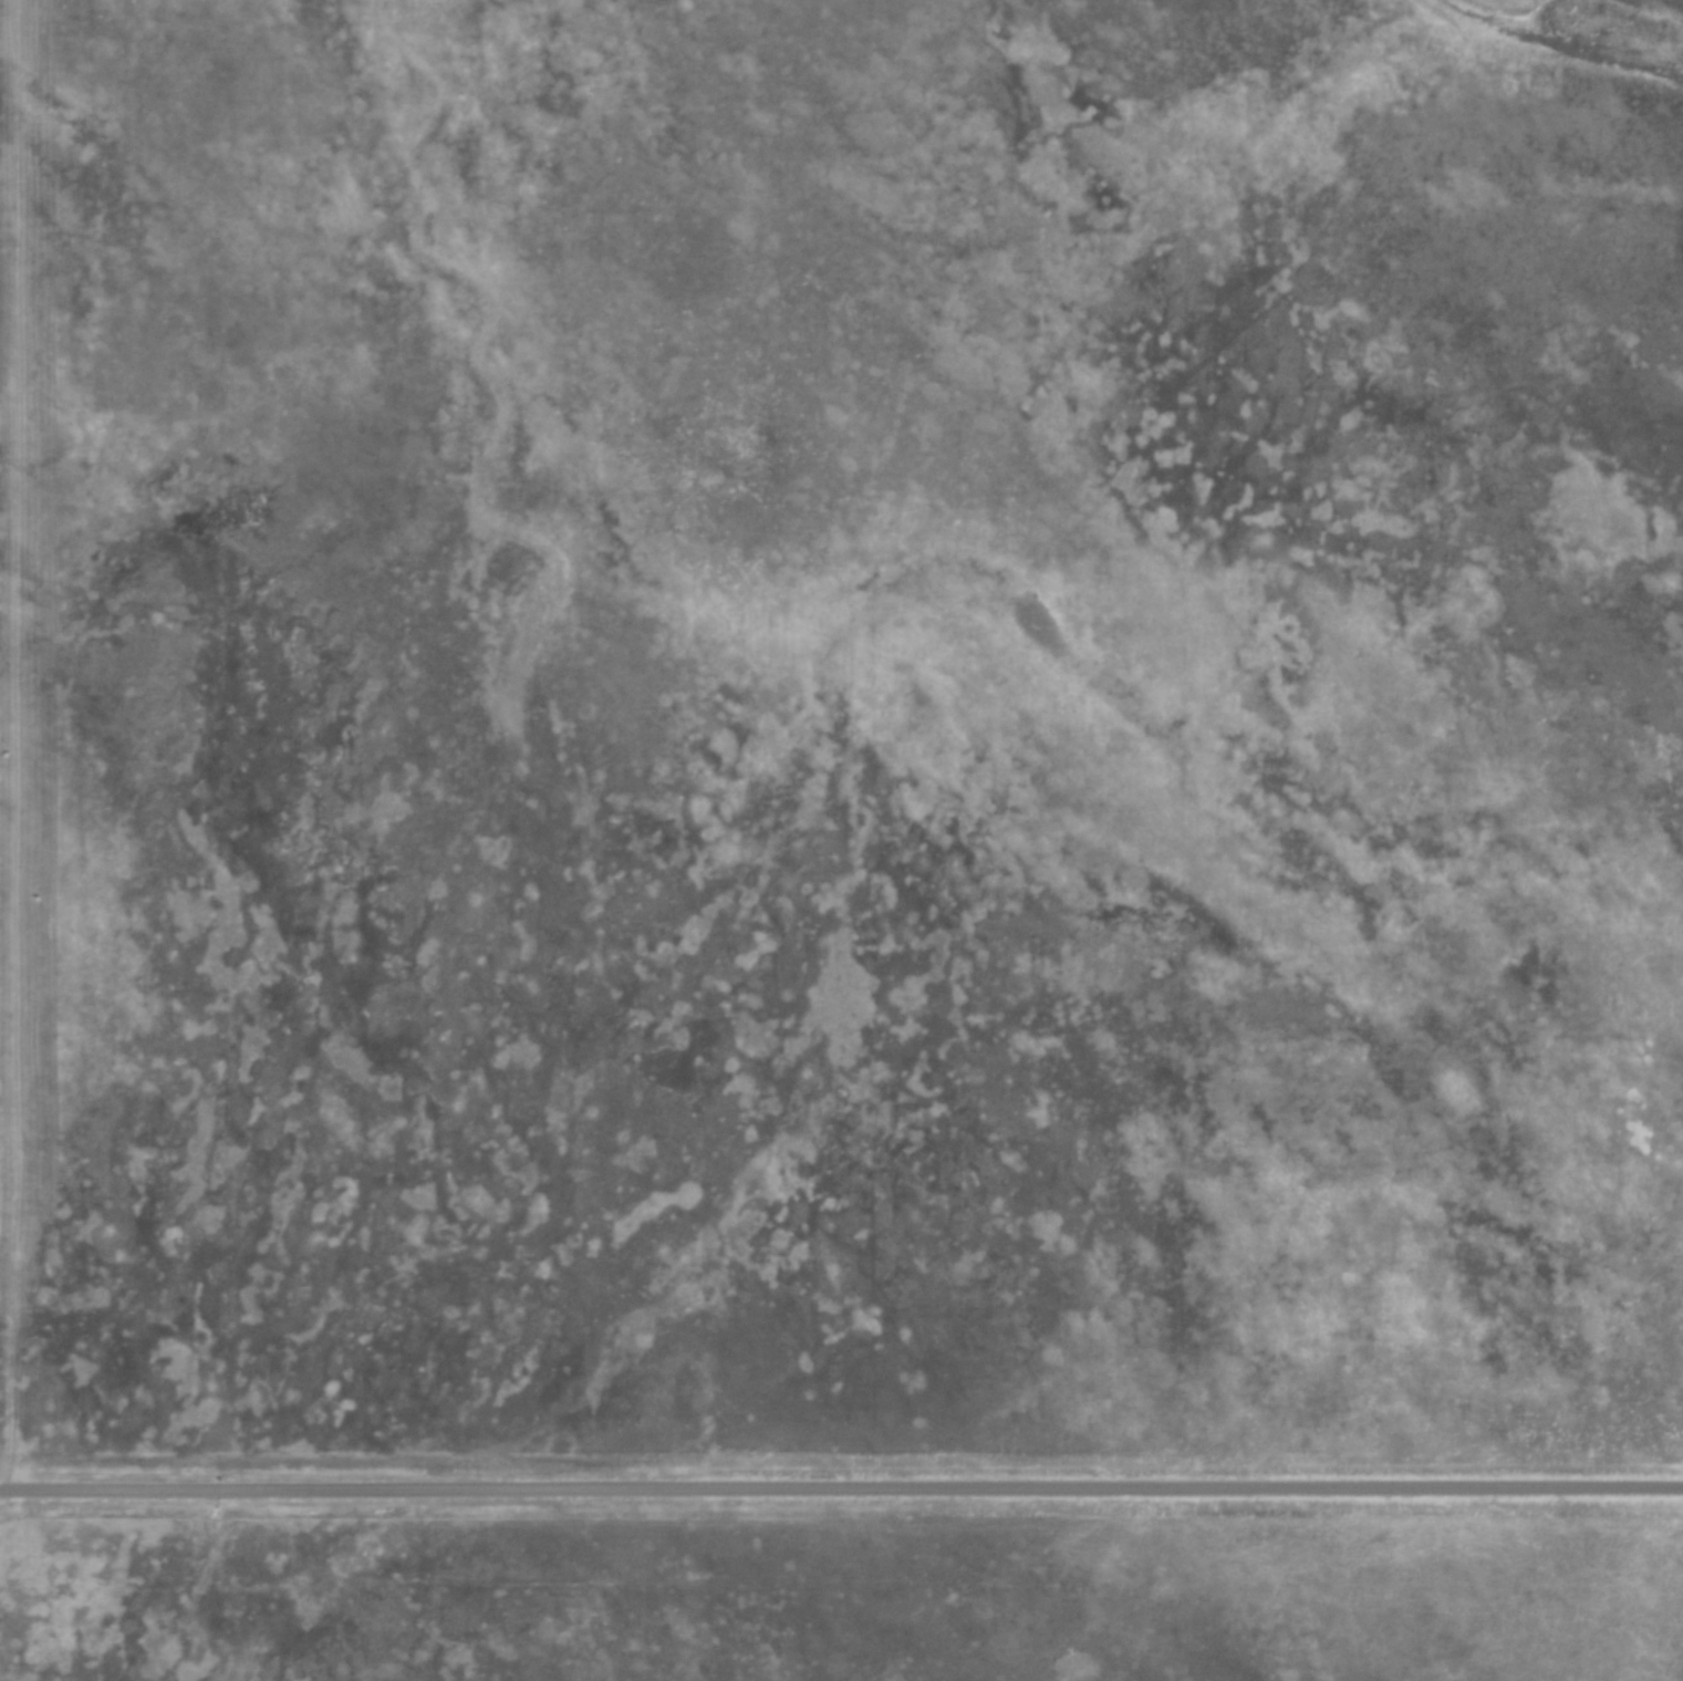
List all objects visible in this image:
road: (841, 1488)

